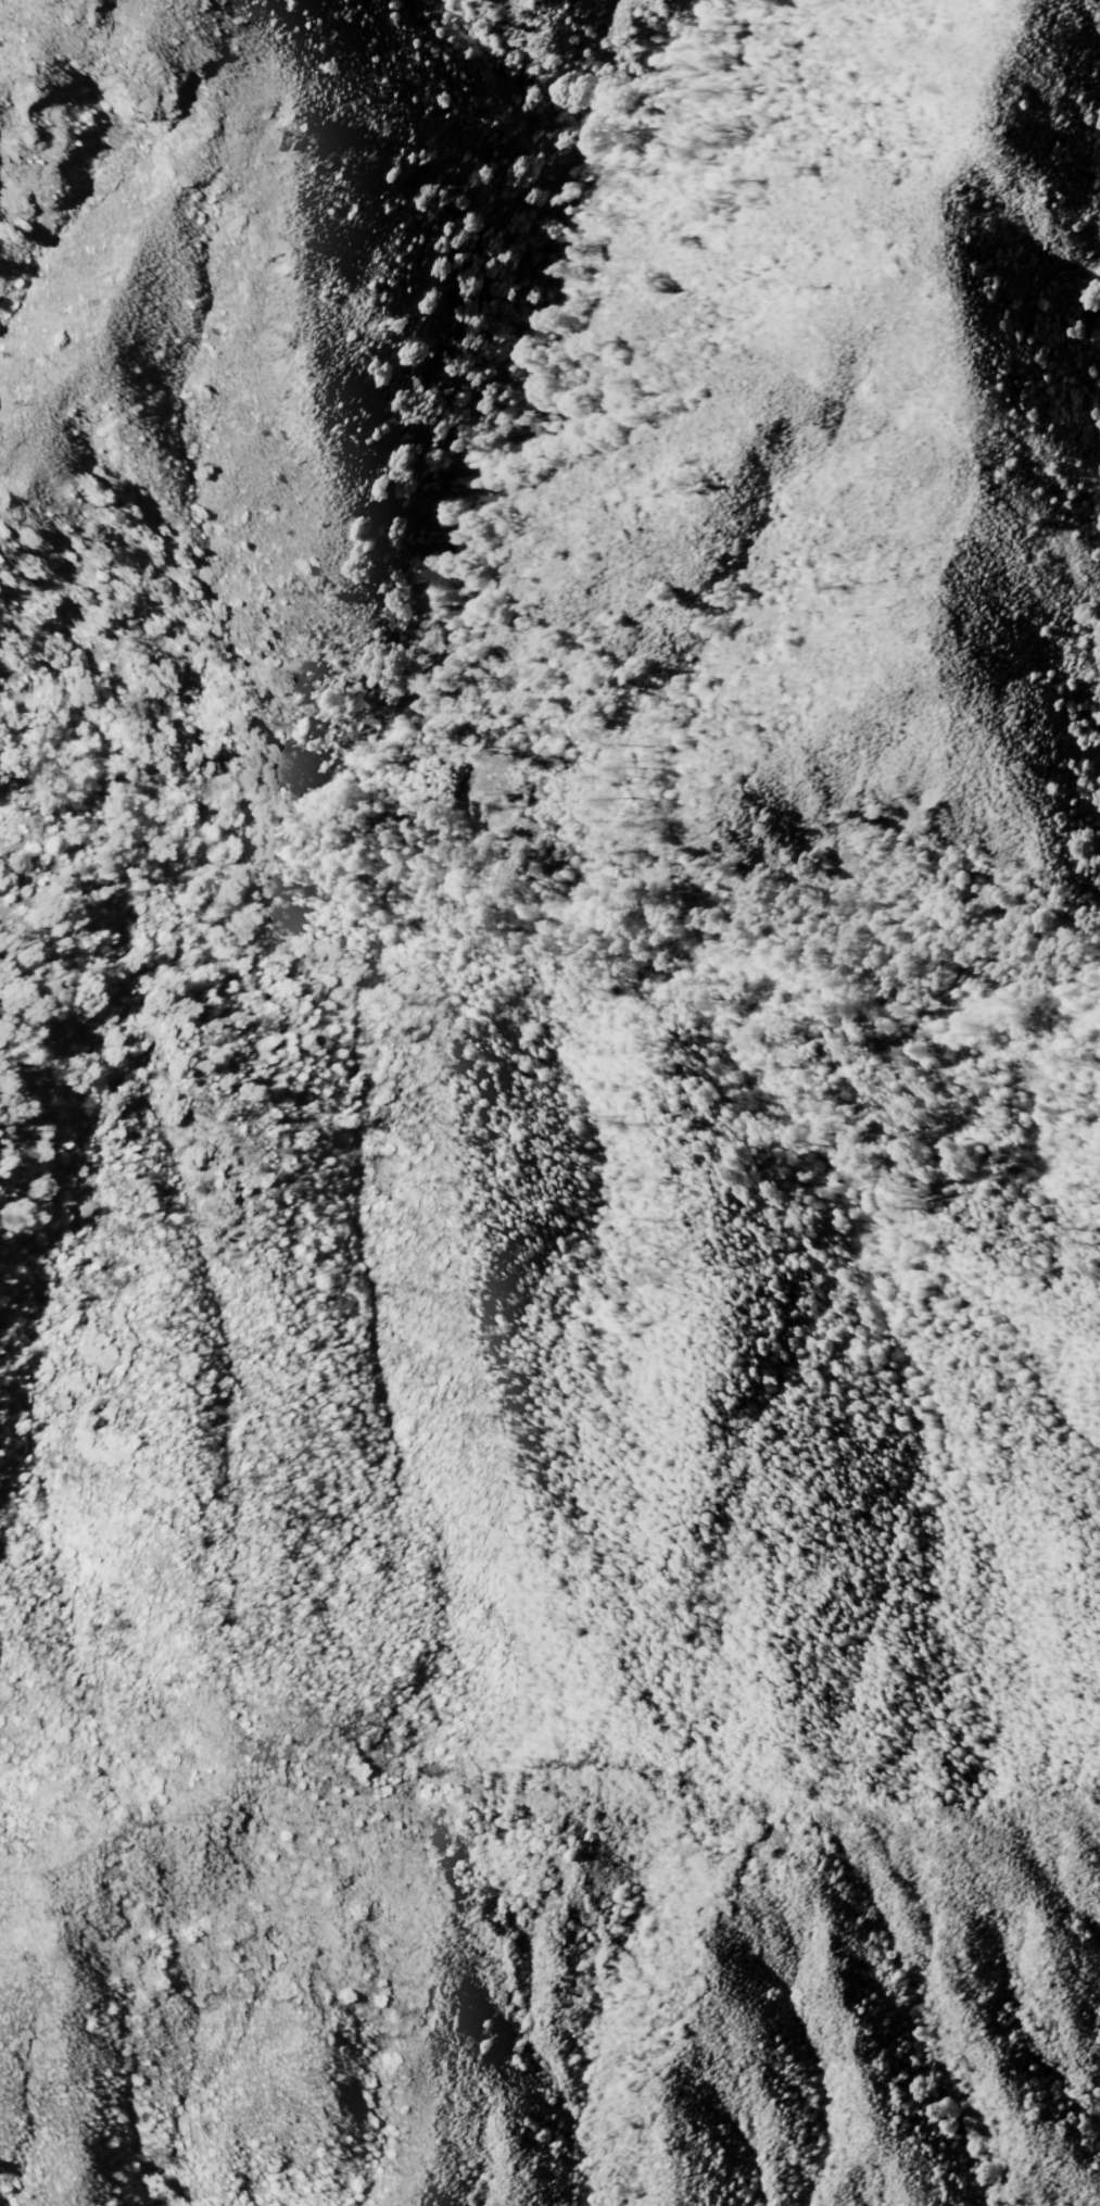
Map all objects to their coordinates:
road: (522, 964)

